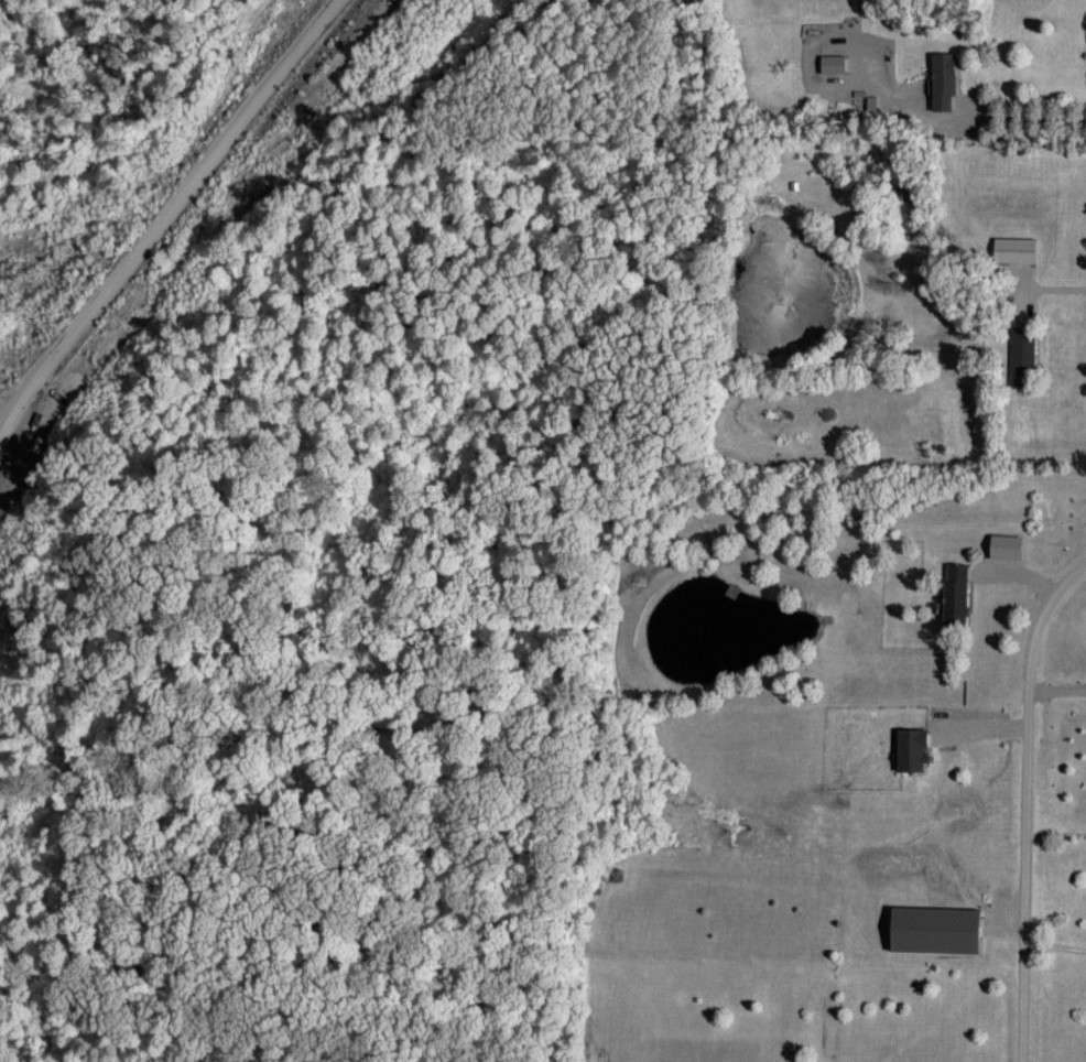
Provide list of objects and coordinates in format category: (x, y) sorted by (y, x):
building: (830, 62)
building: (941, 78)
road: (1013, 118)
building: (1012, 247)
building: (1020, 355)
building: (1003, 544)
building: (954, 590)
building: (909, 748)
road: (1028, 802)
building: (932, 928)
road: (1056, 945)

